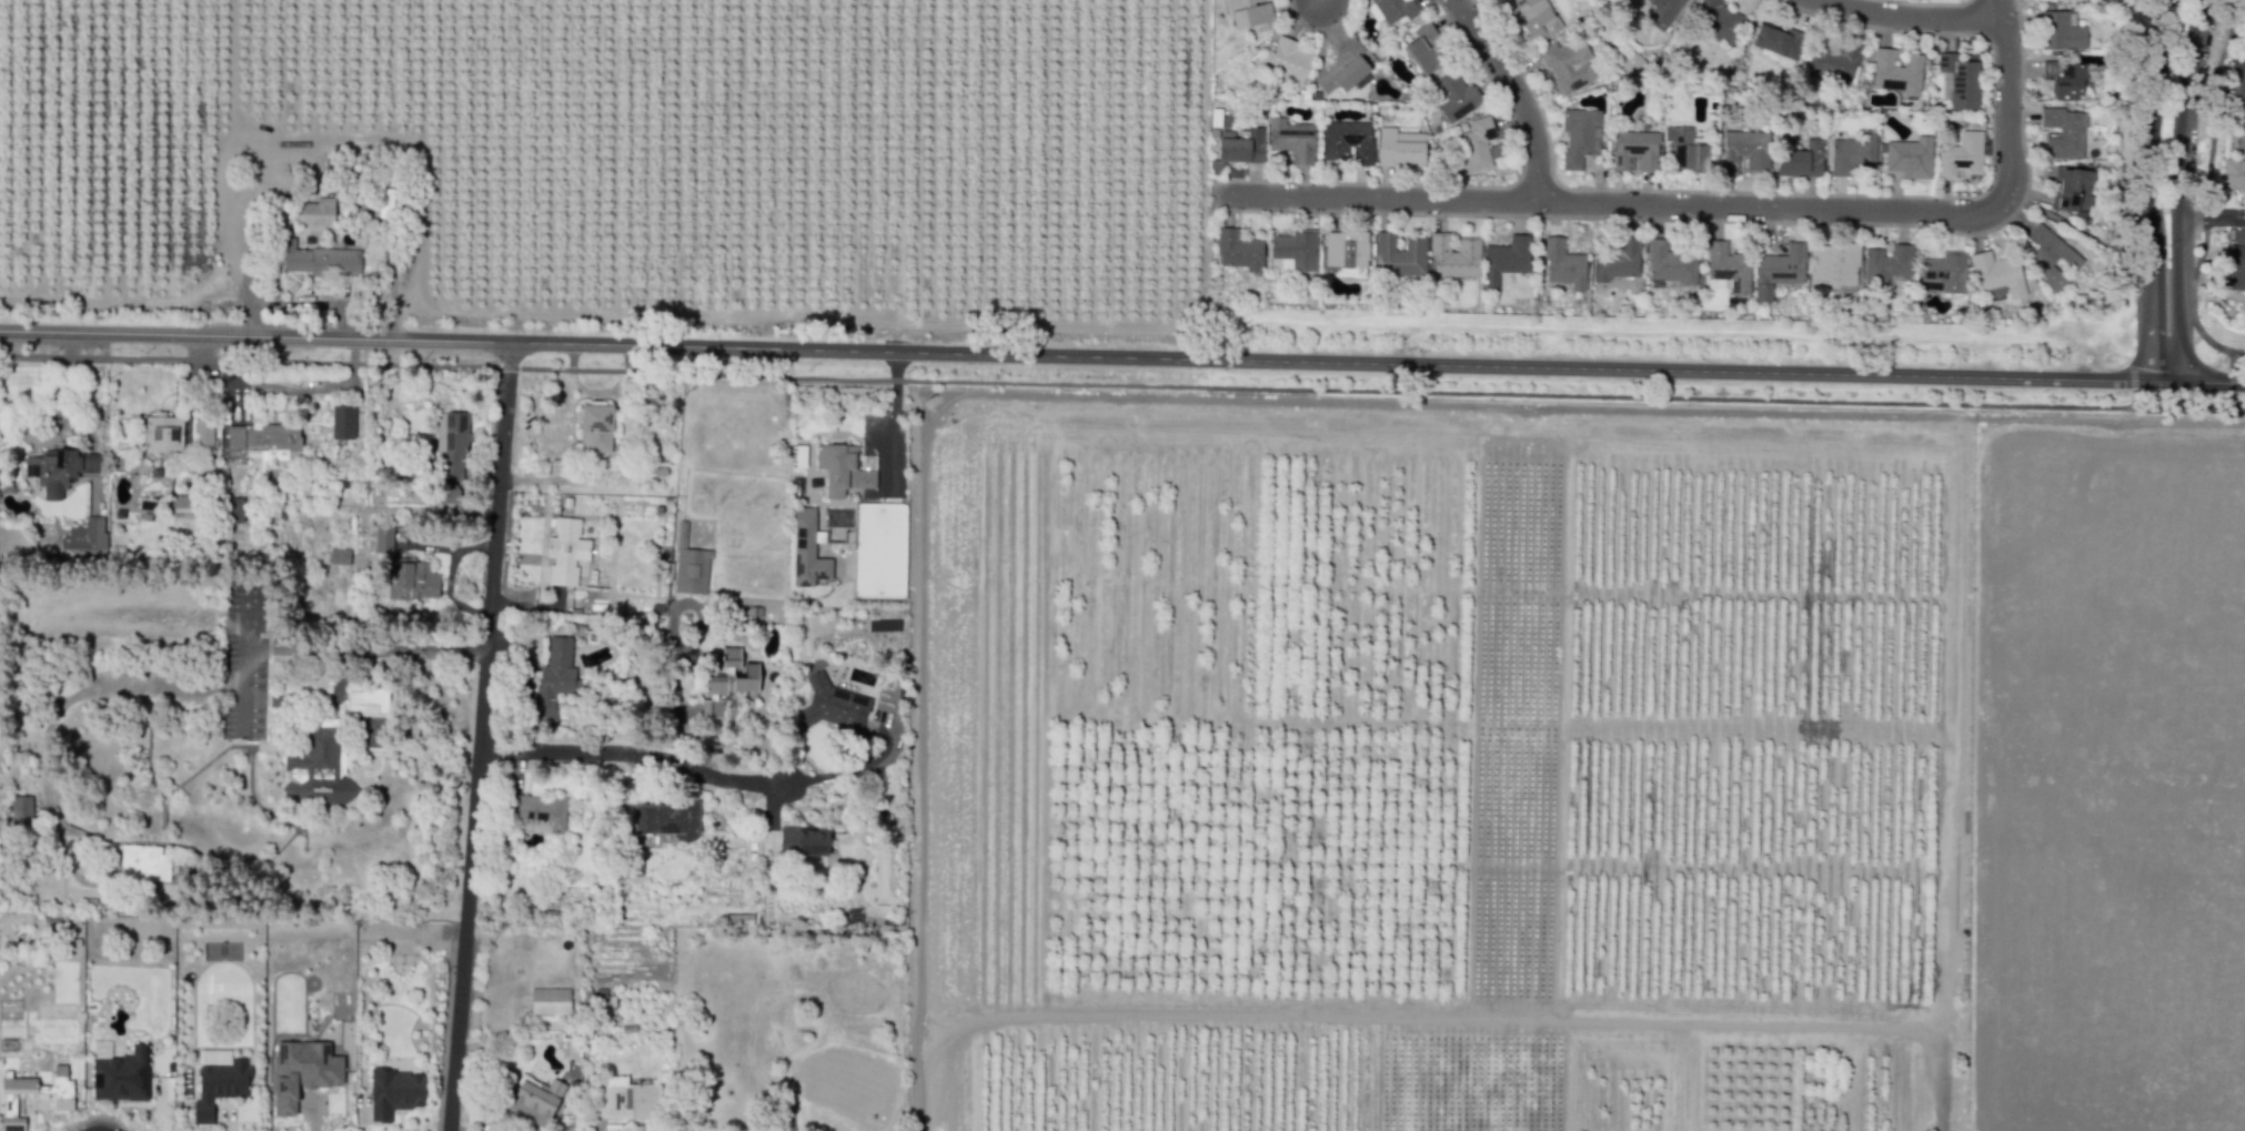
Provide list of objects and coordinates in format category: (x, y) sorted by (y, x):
building: (1397, 8)
building: (1663, 11)
building: (1250, 14)
road: (1912, 16)
building: (1534, 18)
building: (2242, 19)
building: (1718, 20)
street lamp: (2182, 23)
building: (2060, 29)
road: (2236, 31)
street lamp: (1927, 33)
building: (1779, 38)
building: (1423, 44)
building: (1283, 58)
building: (1836, 59)
building: (1568, 62)
building: (1342, 64)
building: (1896, 69)
building: (2064, 74)
building: (1961, 78)
road: (232, 79)
building: (2236, 85)
road: (1517, 93)
building: (1454, 94)
road: (2005, 95)
road: (2214, 108)
road: (2127, 123)
building: (2063, 130)
building: (1578, 133)
street lamp: (2165, 133)
building: (1291, 137)
building: (1347, 139)
building: (2238, 141)
building: (1474, 142)
building: (1239, 144)
building: (1634, 148)
building: (1685, 148)
building: (1743, 148)
building: (1400, 149)
building: (1852, 151)
building: (1961, 153)
building: (1910, 155)
building: (1801, 158)
street lamp: (1990, 159)
building: (2234, 174)
building: (2072, 188)
road: (2151, 191)
road: (2176, 192)
road: (1611, 203)
building: (316, 212)
street lamp: (1537, 219)
road: (2209, 219)
park: (2068, 224)
street lamp: (1915, 225)
road: (2074, 226)
street lamp: (2167, 243)
building: (1295, 246)
building: (1345, 246)
road: (232, 248)
building: (1237, 248)
building: (1399, 253)
building: (1453, 253)
building: (2048, 254)
building: (1504, 257)
building: (320, 259)
building: (1615, 259)
building: (1670, 261)
building: (1834, 261)
building: (1563, 262)
building: (1886, 262)
building: (2235, 264)
building: (1728, 265)
building: (1780, 267)
building: (1944, 269)
building: (1996, 272)
road: (2192, 301)
road: (2128, 307)
road: (254, 339)
street lamp: (2194, 342)
road: (1337, 360)
street lamp: (2123, 362)
road: (2127, 378)
road: (2203, 381)
road: (2232, 382)
road: (1121, 383)
road: (279, 384)
road: (2127, 397)
road: (895, 415)
building: (341, 422)
building: (595, 428)
building: (162, 433)
building: (202, 434)
building: (242, 436)
building: (279, 441)
building: (452, 443)
building: (798, 458)
building: (868, 462)
building: (59, 468)
building: (842, 469)
building: (233, 509)
building: (382, 538)
building: (84, 539)
building: (877, 549)
building: (565, 551)
building: (806, 551)
building: (691, 570)
building: (412, 580)
road: (246, 614)
road: (1972, 648)
road: (365, 649)
building: (553, 678)
road: (244, 691)
road: (69, 701)
building: (832, 705)
road: (480, 736)
road: (633, 756)
building: (319, 769)
road: (847, 769)
road: (197, 771)
building: (20, 808)
building: (537, 808)
road: (163, 815)
building: (666, 819)
building: (527, 824)
building: (803, 840)
building: (143, 861)
building: (550, 1000)
building: (598, 1001)
road: (1417, 1024)
building: (302, 1070)
building: (122, 1074)
building: (219, 1085)
building: (43, 1087)
building: (393, 1090)
building: (534, 1100)
building: (628, 1101)
building: (11, 1123)

